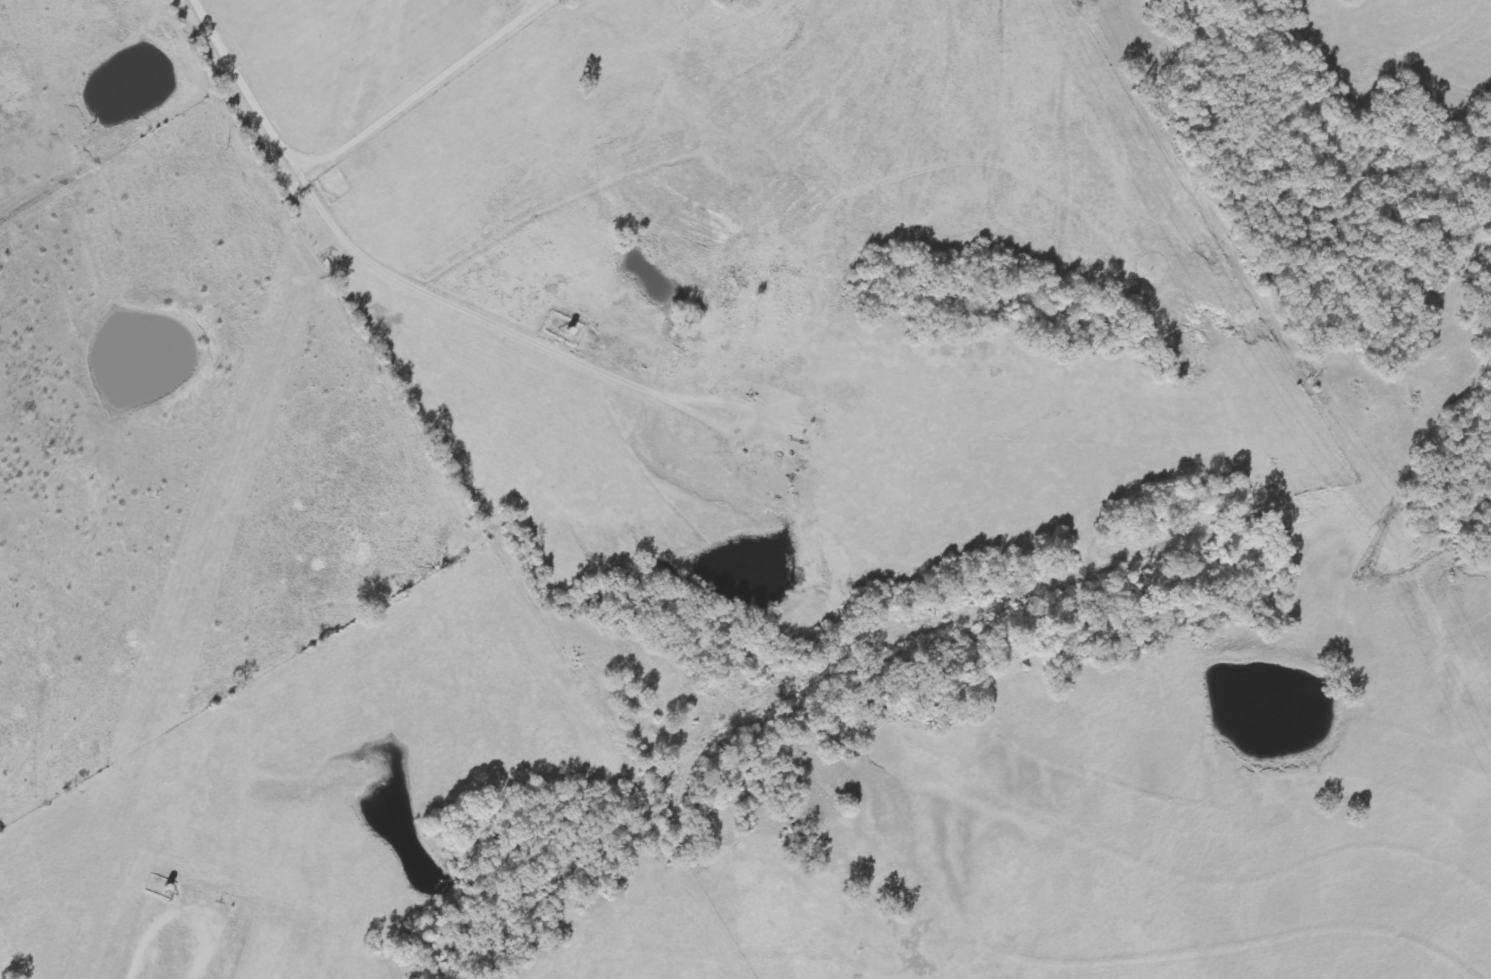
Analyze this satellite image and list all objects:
power tower: (1360, 570)

